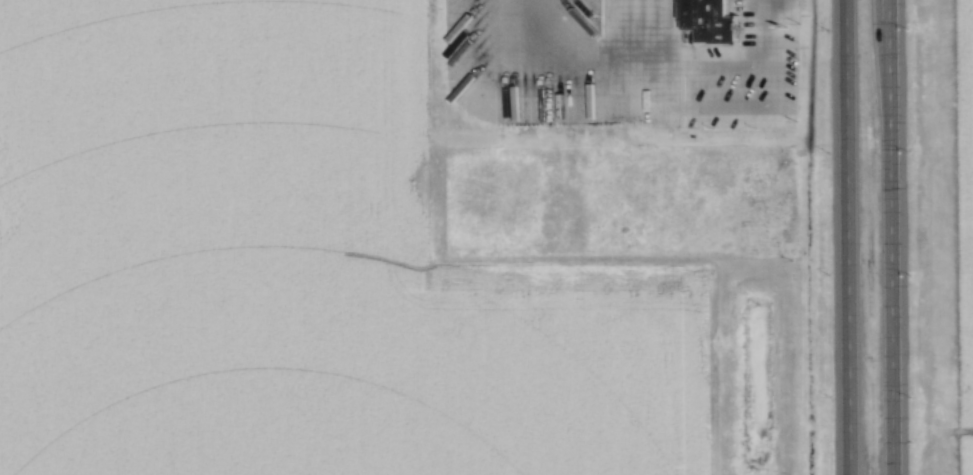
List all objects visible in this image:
building: (713, 20)
road: (729, 58)
road: (580, 84)
road: (845, 135)
road: (888, 135)
road: (845, 372)
road: (888, 372)

